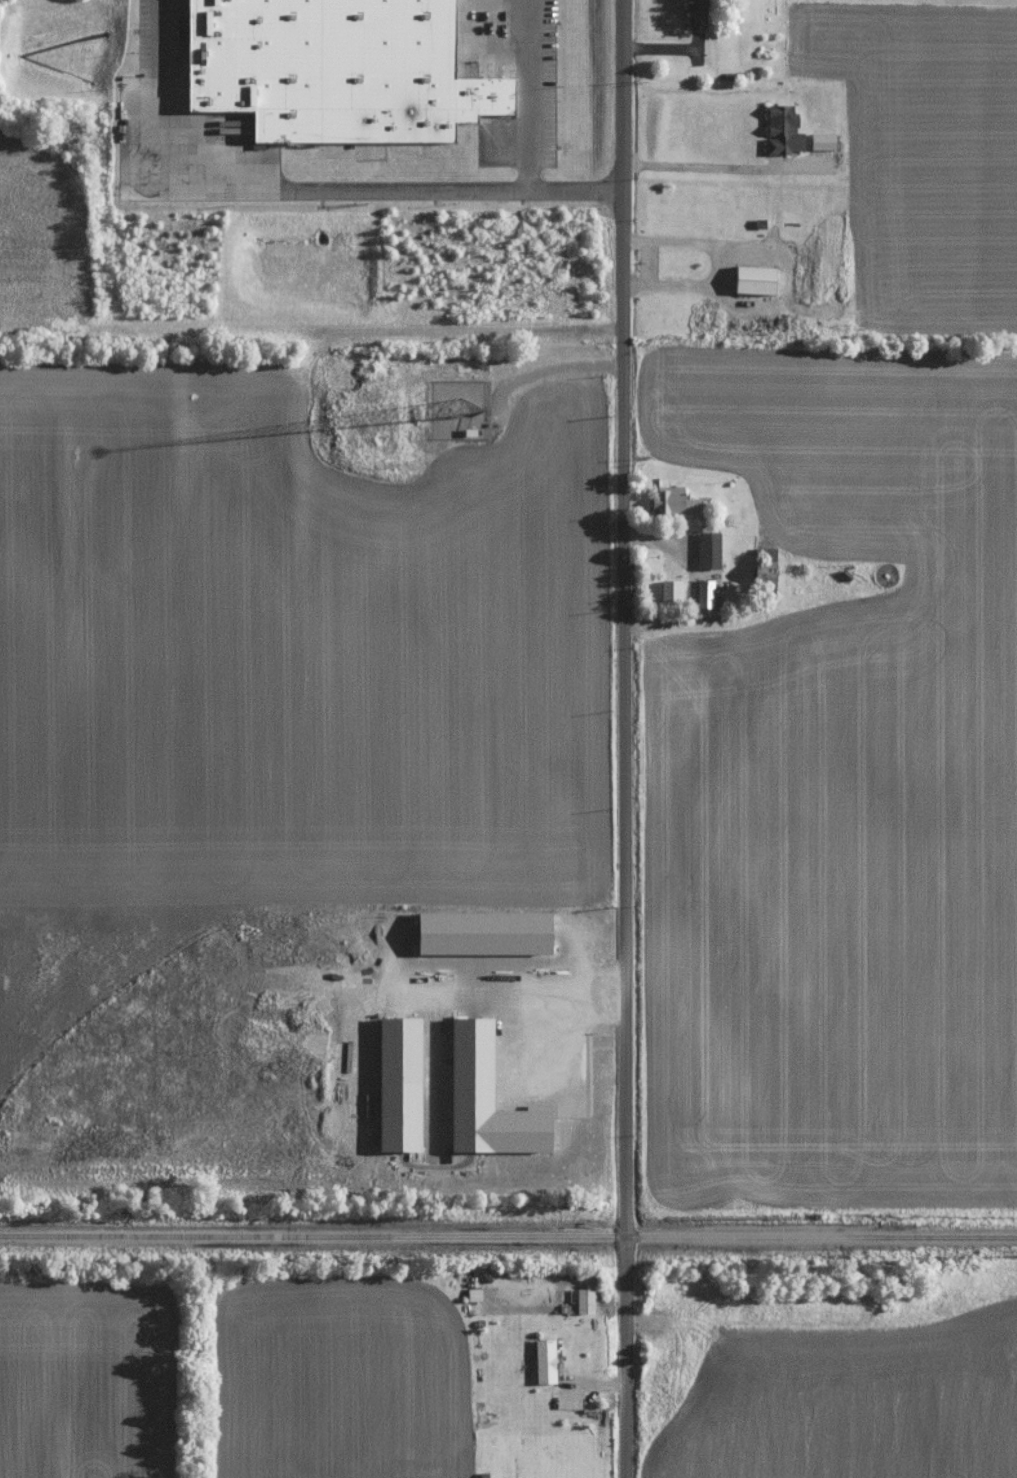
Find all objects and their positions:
parking lot: (161, 10)
building: (695, 12)
road: (157, 37)
building: (341, 68)
road: (528, 94)
building: (782, 131)
building: (821, 141)
road: (722, 166)
road: (166, 186)
road: (451, 188)
building: (753, 278)
building: (463, 410)
building: (672, 500)
building: (707, 549)
building: (705, 593)
road: (623, 739)
building: (484, 934)
road: (511, 994)
road: (549, 1033)
building: (487, 1100)
building: (400, 1117)
railway: (508, 1236)
building: (474, 1294)
building: (544, 1361)

